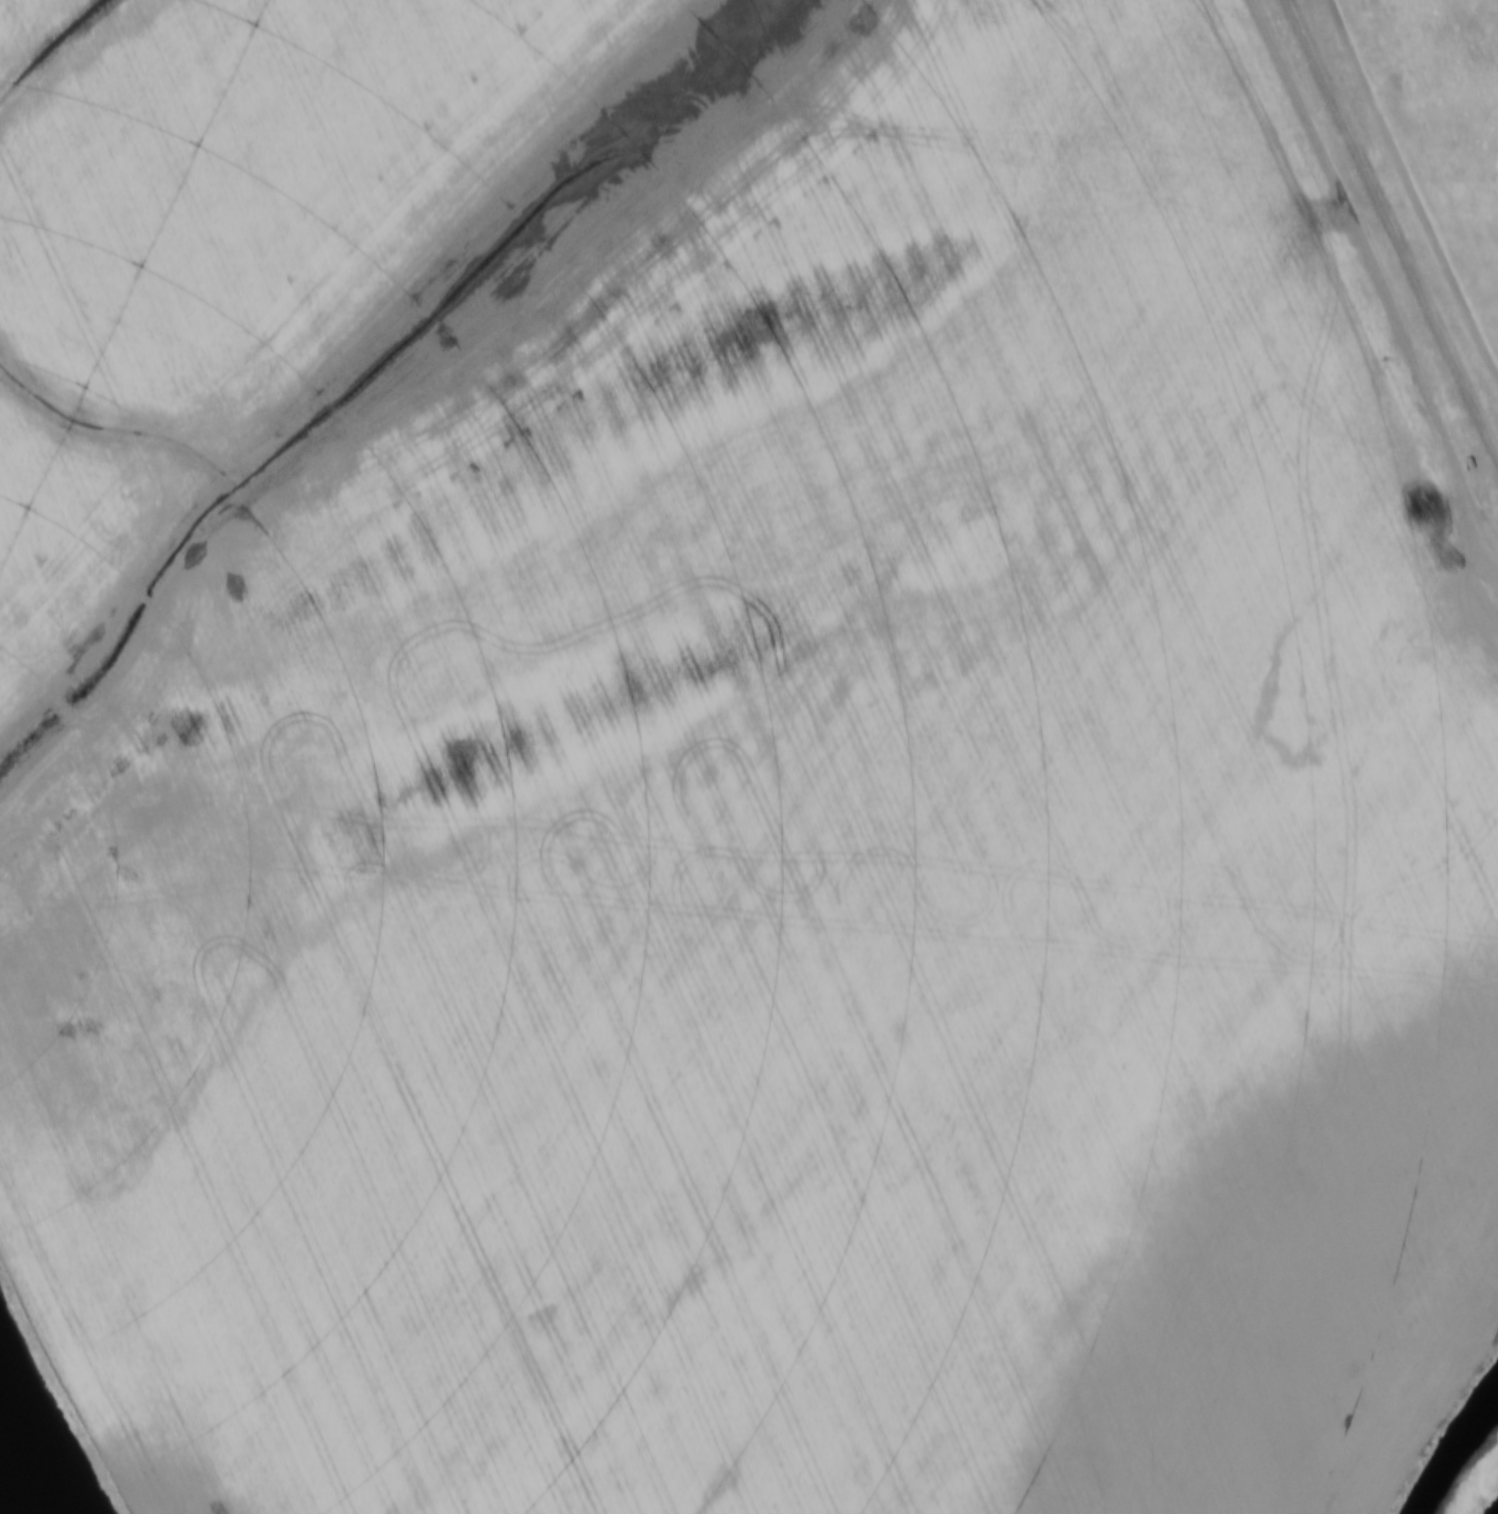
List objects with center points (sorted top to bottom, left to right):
road: (1412, 187)
river: (16, 1483)
park: (10, 1493)

